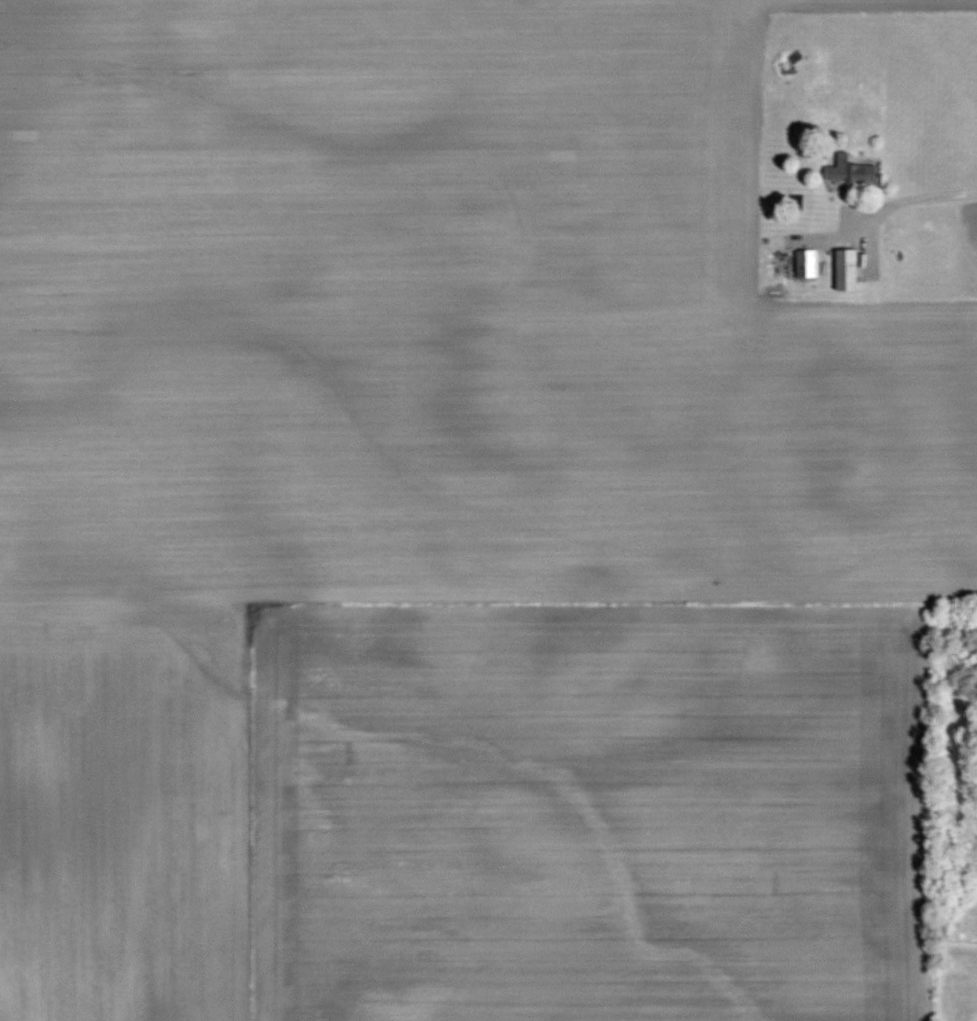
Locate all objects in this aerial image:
building: (847, 171)
road: (899, 198)
building: (804, 264)
building: (843, 270)
building: (976, 687)

